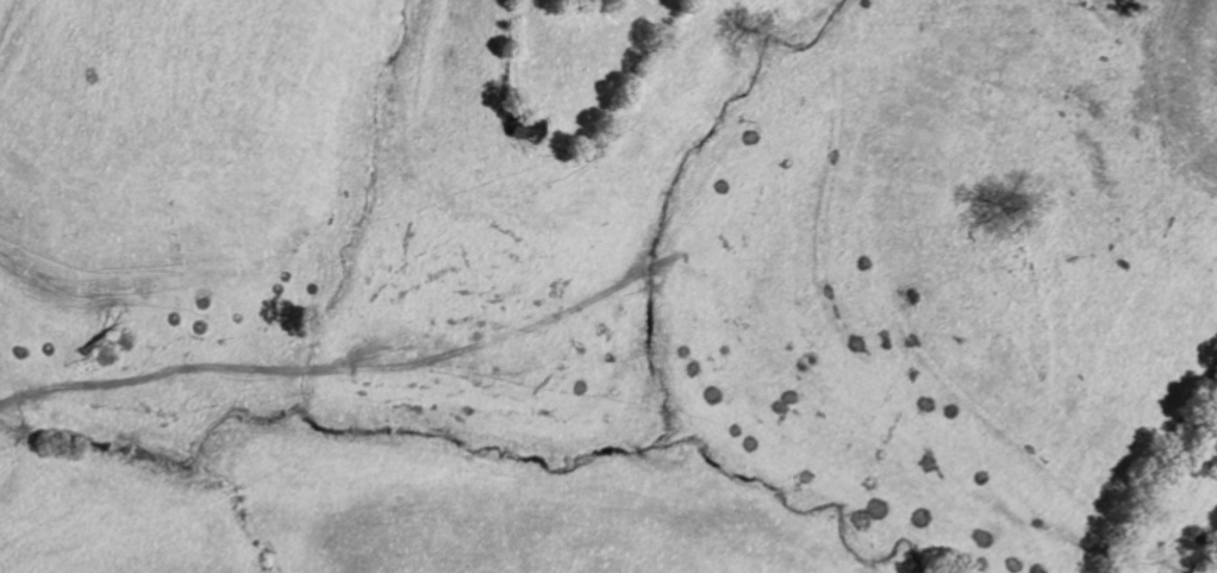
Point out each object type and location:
building: (526, 130)
road: (308, 379)

